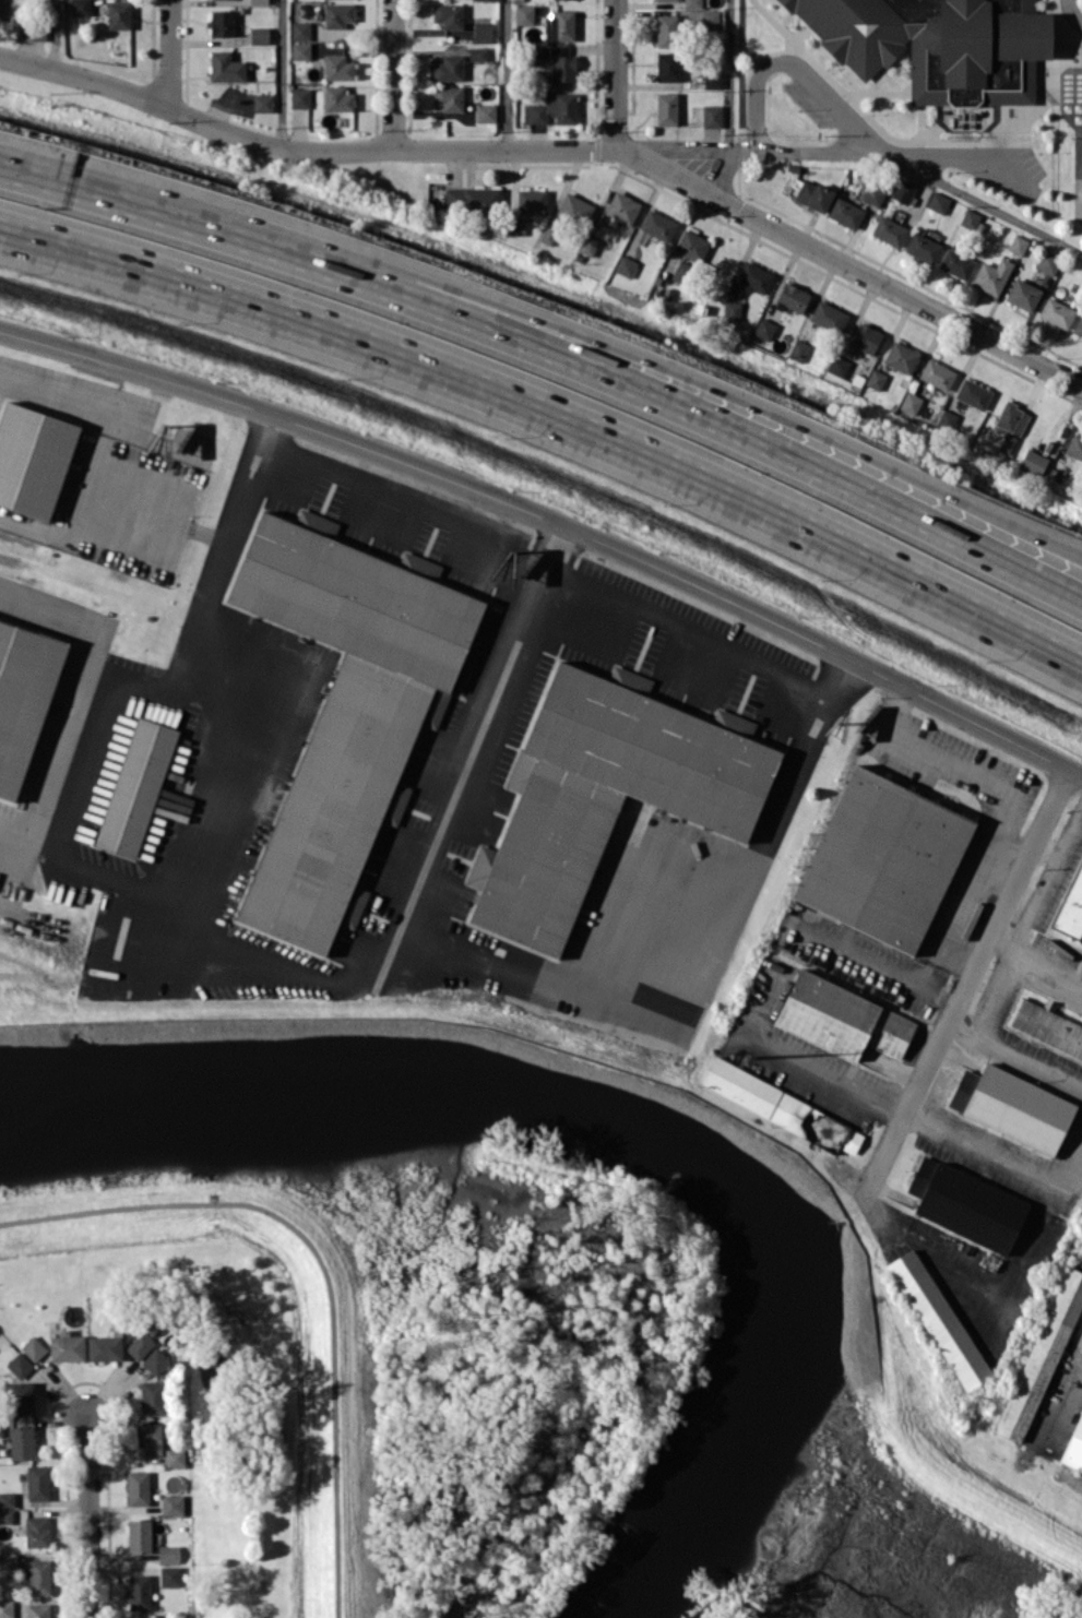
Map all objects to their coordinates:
building: (487, 0)
building: (665, 0)
building: (258, 1)
building: (692, 3)
building: (80, 8)
road: (1073, 11)
building: (118, 14)
building: (337, 14)
building: (524, 14)
building: (448, 15)
building: (709, 20)
building: (221, 23)
building: (559, 25)
building: (300, 31)
building: (481, 31)
building: (667, 31)
building: (35, 32)
road: (56, 35)
building: (259, 35)
building: (938, 44)
building: (300, 50)
building: (477, 53)
road: (169, 55)
building: (667, 66)
building: (226, 67)
building: (337, 67)
building: (449, 68)
building: (562, 68)
road: (800, 69)
road: (615, 73)
road: (282, 74)
road: (392, 74)
road: (507, 74)
road: (729, 75)
building: (713, 79)
building: (299, 97)
building: (448, 97)
building: (337, 98)
building: (262, 103)
building: (552, 108)
building: (666, 108)
building: (485, 112)
building: (711, 115)
road: (193, 119)
road: (702, 150)
building: (903, 190)
building: (810, 193)
building: (872, 193)
building: (473, 199)
building: (531, 201)
building: (938, 202)
road: (985, 203)
building: (621, 207)
building: (574, 209)
building: (845, 212)
road: (175, 214)
building: (968, 218)
building: (514, 225)
building: (657, 225)
building: (889, 230)
building: (548, 235)
building: (587, 245)
building: (691, 245)
building: (1018, 245)
building: (923, 247)
building: (1048, 262)
building: (955, 263)
building: (625, 265)
road: (851, 266)
building: (991, 275)
building: (753, 277)
building: (1022, 294)
building: (793, 297)
building: (732, 309)
building: (1057, 312)
building: (829, 316)
building: (1078, 325)
building: (763, 329)
building: (865, 337)
building: (798, 349)
building: (901, 356)
building: (837, 365)
building: (937, 373)
building: (876, 379)
road: (722, 392)
building: (973, 393)
building: (909, 402)
road: (552, 417)
building: (1011, 417)
road: (721, 423)
building: (1008, 442)
building: (1074, 445)
road: (104, 452)
building: (33, 459)
building: (1033, 461)
road: (402, 508)
road: (547, 517)
road: (682, 633)
road: (134, 681)
building: (23, 698)
building: (346, 707)
road: (1075, 772)
road: (977, 773)
building: (135, 787)
building: (605, 793)
road: (1044, 850)
building: (882, 859)
road: (426, 864)
road: (203, 866)
road: (17, 872)
road: (1046, 872)
road: (663, 895)
building: (1072, 907)
road: (31, 920)
road: (948, 921)
road: (1033, 963)
road: (873, 965)
road: (966, 981)
building: (842, 1018)
building: (1047, 1027)
road: (1013, 1056)
road: (795, 1063)
building: (1012, 1106)
building: (782, 1107)
river: (635, 1120)
road: (984, 1149)
building: (965, 1204)
road: (1043, 1223)
road: (928, 1246)
road: (325, 1265)
building: (938, 1319)
building: (139, 1345)
building: (67, 1346)
building: (105, 1346)
building: (33, 1347)
building: (1043, 1355)
building: (155, 1361)
building: (19, 1365)
road: (1073, 1368)
road: (1058, 1379)
building: (20, 1397)
building: (153, 1397)
building: (1, 1428)
building: (148, 1438)
building: (21, 1442)
building: (1073, 1447)
building: (175, 1456)
building: (38, 1483)
building: (138, 1487)
building: (7, 1499)
building: (171, 1504)
building: (5, 1516)
road: (88, 1518)
building: (36, 1531)
building: (139, 1535)
building: (168, 1554)
building: (8, 1561)
building: (169, 1575)
building: (39, 1577)
building: (139, 1592)
building: (5, 1608)
building: (37, 1610)

